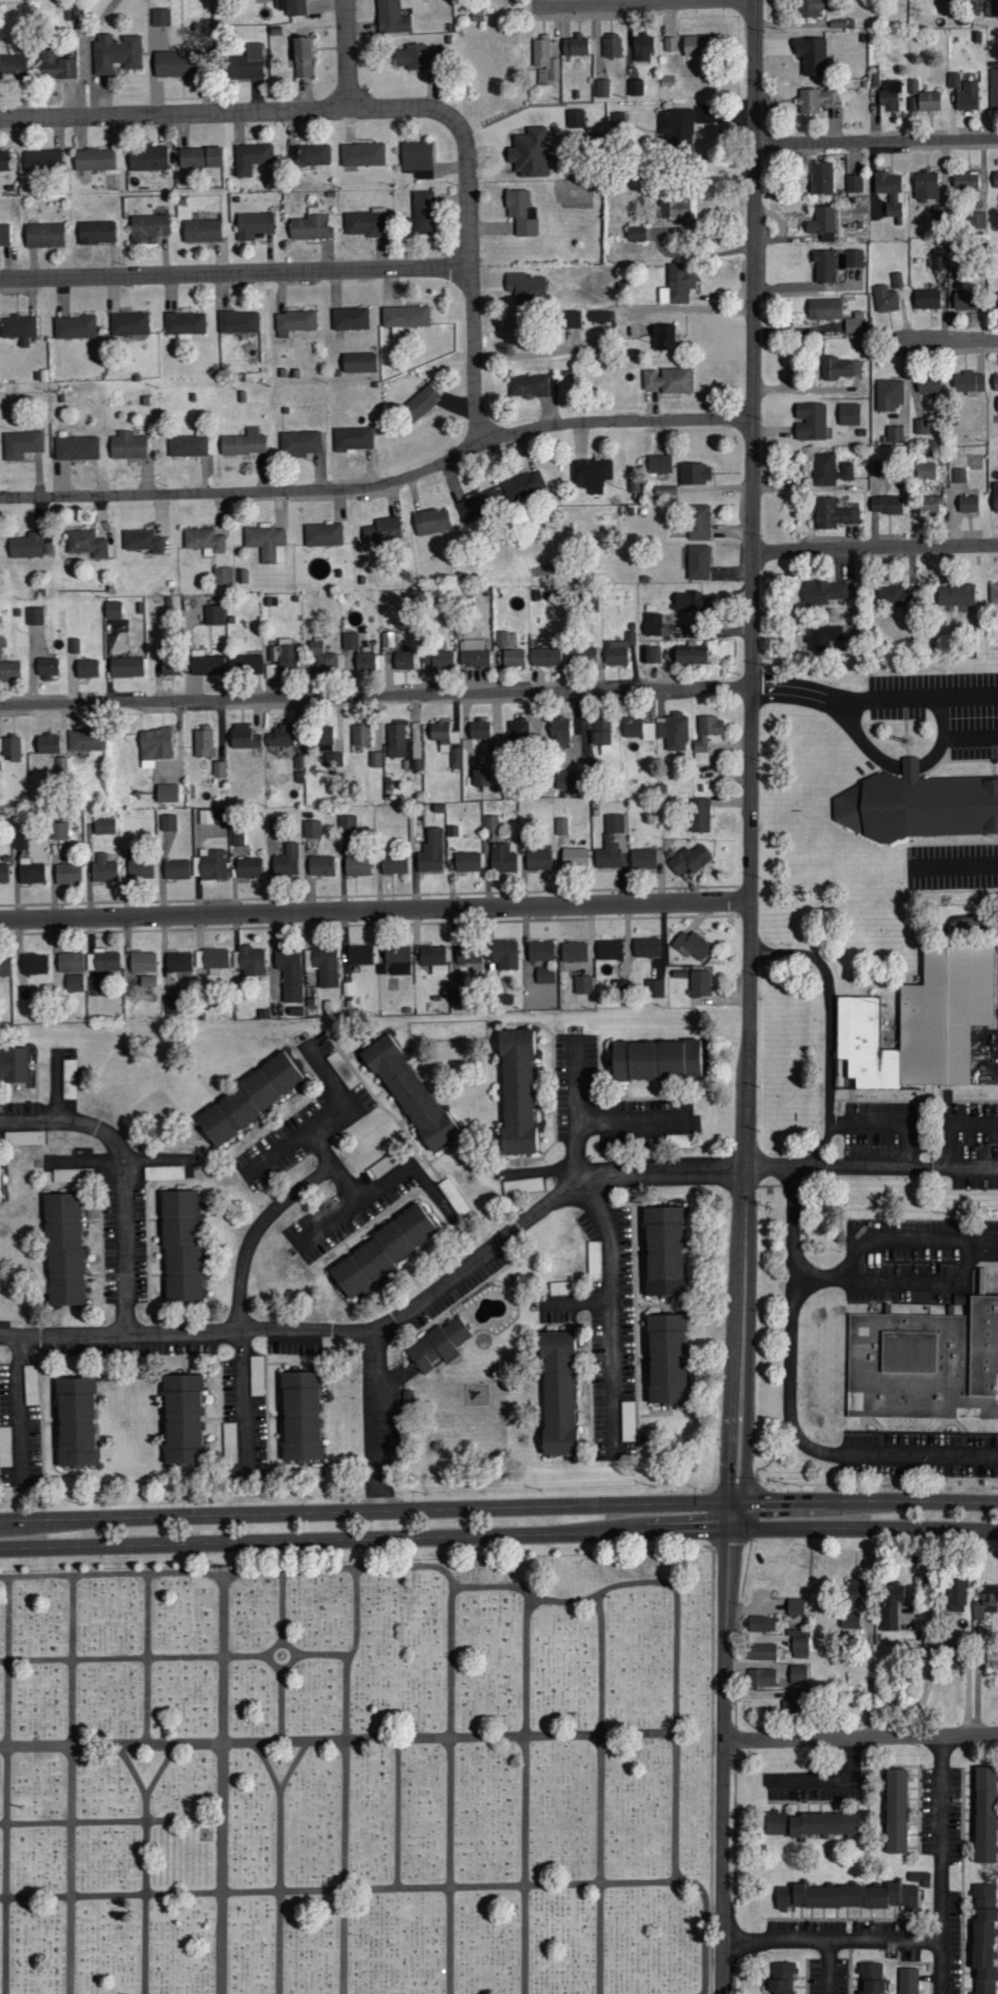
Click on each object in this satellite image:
road: (534, 4)
road: (645, 5)
building: (903, 6)
building: (292, 7)
building: (981, 7)
building: (809, 8)
building: (160, 17)
building: (391, 18)
building: (670, 44)
building: (576, 46)
building: (611, 46)
building: (694, 47)
building: (643, 48)
building: (116, 54)
road: (347, 54)
building: (811, 57)
building: (301, 58)
building: (416, 58)
building: (545, 58)
building: (248, 63)
building: (178, 64)
building: (12, 67)
building: (56, 67)
building: (954, 80)
building: (636, 87)
building: (913, 88)
building: (602, 89)
building: (994, 90)
building: (968, 96)
building: (890, 97)
building: (815, 100)
building: (929, 101)
road: (229, 112)
building: (618, 118)
building: (576, 119)
building: (677, 132)
road: (877, 141)
building: (531, 153)
building: (313, 155)
building: (362, 155)
building: (200, 158)
building: (251, 158)
building: (148, 159)
building: (417, 159)
building: (4, 160)
building: (94, 160)
building: (42, 161)
building: (821, 179)
building: (965, 181)
building: (995, 181)
building: (854, 184)
building: (926, 185)
building: (890, 192)
building: (675, 210)
building: (423, 213)
building: (521, 213)
building: (977, 219)
building: (366, 223)
building: (823, 224)
building: (253, 225)
building: (310, 228)
building: (148, 229)
building: (202, 231)
building: (96, 233)
building: (636, 233)
building: (4, 235)
building: (44, 236)
building: (854, 258)
building: (939, 261)
building: (824, 265)
road: (235, 272)
building: (897, 279)
road: (471, 280)
building: (678, 283)
building: (526, 287)
building: (885, 298)
building: (927, 298)
building: (996, 298)
building: (967, 300)
building: (824, 308)
building: (600, 315)
building: (404, 317)
building: (350, 318)
building: (571, 318)
building: (295, 320)
building: (238, 321)
building: (184, 322)
building: (854, 322)
building: (129, 323)
building: (74, 326)
building: (18, 328)
building: (663, 336)
road: (943, 341)
building: (359, 362)
building: (840, 367)
building: (669, 380)
building: (995, 381)
building: (969, 382)
building: (928, 384)
building: (528, 385)
building: (889, 394)
building: (420, 402)
building: (997, 403)
building: (849, 413)
building: (810, 421)
building: (920, 426)
building: (894, 434)
building: (352, 438)
building: (244, 442)
building: (300, 442)
building: (20, 444)
building: (127, 445)
building: (187, 445)
building: (76, 448)
building: (660, 463)
building: (823, 468)
building: (846, 470)
building: (925, 470)
building: (694, 473)
building: (591, 474)
building: (959, 475)
road: (382, 483)
building: (995, 497)
building: (927, 503)
building: (968, 503)
building: (476, 504)
building: (886, 504)
building: (833, 514)
building: (431, 521)
building: (698, 521)
building: (382, 531)
building: (322, 534)
building: (142, 540)
building: (203, 540)
building: (267, 542)
building: (86, 543)
building: (28, 545)
road: (875, 548)
building: (697, 561)
building: (222, 576)
building: (824, 592)
building: (993, 593)
building: (956, 595)
building: (895, 596)
building: (692, 601)
building: (113, 609)
building: (35, 615)
building: (207, 615)
building: (652, 623)
building: (825, 636)
building: (387, 639)
building: (74, 645)
building: (0, 650)
building: (474, 654)
building: (651, 654)
building: (357, 655)
building: (545, 656)
building: (690, 656)
building: (513, 657)
building: (288, 658)
building: (323, 658)
building: (438, 659)
building: (404, 660)
building: (245, 662)
building: (205, 663)
building: (125, 666)
building: (46, 667)
building: (87, 668)
building: (10, 669)
building: (170, 669)
building: (270, 670)
road: (961, 694)
road: (376, 695)
road: (861, 700)
parking lot: (944, 707)
building: (479, 728)
building: (659, 730)
building: (518, 731)
building: (559, 733)
building: (360, 735)
building: (443, 735)
building: (602, 735)
road: (970, 735)
building: (280, 736)
building: (243, 737)
building: (706, 737)
building: (325, 738)
building: (86, 740)
building: (203, 742)
building: (47, 743)
building: (405, 744)
building: (154, 746)
building: (10, 748)
road: (752, 757)
road: (884, 758)
building: (333, 759)
building: (376, 759)
building: (589, 764)
building: (218, 768)
building: (566, 779)
building: (167, 793)
building: (918, 804)
building: (700, 814)
building: (211, 816)
building: (348, 823)
building: (492, 823)
building: (614, 823)
building: (168, 825)
building: (104, 826)
building: (561, 826)
building: (312, 829)
building: (58, 830)
building: (237, 838)
building: (20, 841)
building: (430, 852)
building: (607, 853)
building: (574, 857)
building: (502, 858)
building: (538, 859)
building: (642, 859)
building: (689, 859)
building: (286, 861)
building: (467, 861)
building: (393, 863)
building: (210, 864)
parking lot: (952, 864)
road: (955, 864)
building: (319, 865)
building: (356, 865)
building: (248, 867)
building: (103, 868)
building: (139, 868)
building: (176, 869)
building: (30, 871)
building: (3, 872)
building: (67, 874)
road: (376, 910)
building: (691, 945)
building: (646, 947)
building: (609, 949)
building: (574, 951)
building: (359, 955)
building: (502, 955)
building: (433, 958)
building: (467, 958)
building: (397, 960)
building: (542, 960)
building: (101, 961)
building: (142, 961)
building: (252, 961)
building: (179, 962)
building: (33, 963)
building: (5, 967)
building: (70, 972)
building: (290, 974)
building: (147, 981)
building: (700, 982)
building: (583, 984)
building: (655, 987)
building: (923, 1021)
road: (831, 1030)
building: (656, 1060)
building: (12, 1064)
building: (69, 1079)
building: (518, 1090)
building: (410, 1095)
building: (249, 1098)
road: (577, 1108)
road: (893, 1119)
road: (636, 1121)
road: (300, 1137)
building: (24, 1138)
building: (678, 1140)
road: (334, 1167)
road: (872, 1169)
building: (163, 1172)
building: (72, 1175)
road: (123, 1176)
building: (522, 1186)
road: (354, 1206)
road: (257, 1230)
road: (890, 1242)
building: (181, 1245)
building: (63, 1248)
building: (663, 1250)
building: (383, 1251)
building: (594, 1261)
road: (912, 1278)
building: (562, 1288)
road: (613, 1315)
road: (395, 1319)
building: (436, 1344)
building: (667, 1357)
building: (924, 1362)
building: (558, 1392)
road: (245, 1403)
road: (790, 1406)
road: (21, 1408)
building: (300, 1415)
building: (182, 1418)
building: (75, 1421)
road: (377, 1428)
building: (229, 1442)
traffic signals: (733, 1515)
road: (865, 1515)
road: (557, 1520)
road: (191, 1529)
road: (484, 1587)
building: (854, 1593)
building: (957, 1595)
building: (985, 1601)
building: (890, 1604)
road: (284, 1606)
building: (795, 1606)
building: (849, 1620)
building: (761, 1623)
building: (799, 1644)
building: (760, 1651)
road: (324, 1655)
road: (270, 1656)
road: (134, 1658)
road: (148, 1659)
building: (798, 1674)
building: (762, 1676)
road: (283, 1705)
road: (860, 1736)
road: (338, 1740)
road: (723, 1754)
road: (268, 1766)
road: (132, 1770)
park: (358, 1774)
road: (825, 1777)
road: (346, 1779)
road: (72, 1784)
road: (8, 1785)
road: (224, 1786)
road: (451, 1789)
road: (601, 1794)
road: (526, 1795)
building: (896, 1810)
building: (985, 1813)
road: (399, 1814)
road: (111, 1821)
building: (815, 1821)
road: (281, 1863)
road: (146, 1864)
road: (942, 1864)
road: (351, 1889)
building: (848, 1894)
building: (983, 1939)
road: (707, 1940)
road: (832, 1940)
road: (829, 1967)
building: (782, 1977)
building: (870, 1977)
building: (909, 1980)

